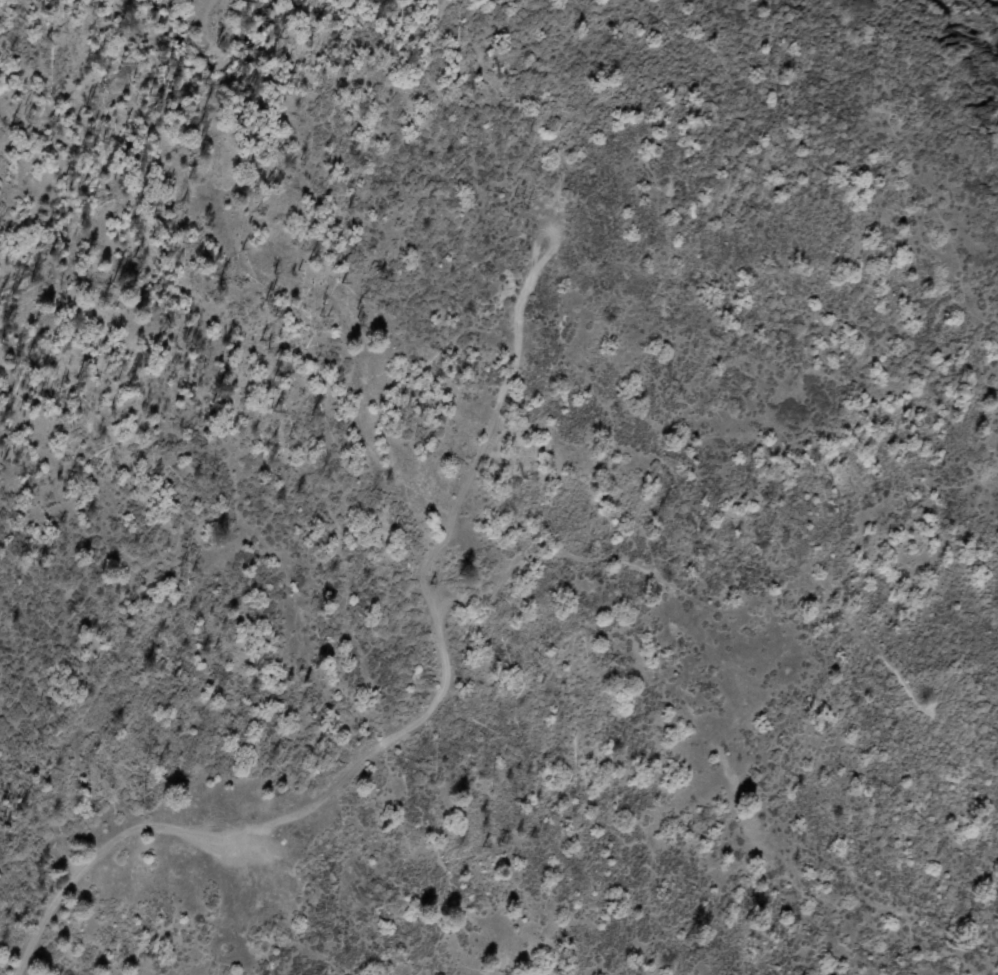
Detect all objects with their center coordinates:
road: (264, 827)

